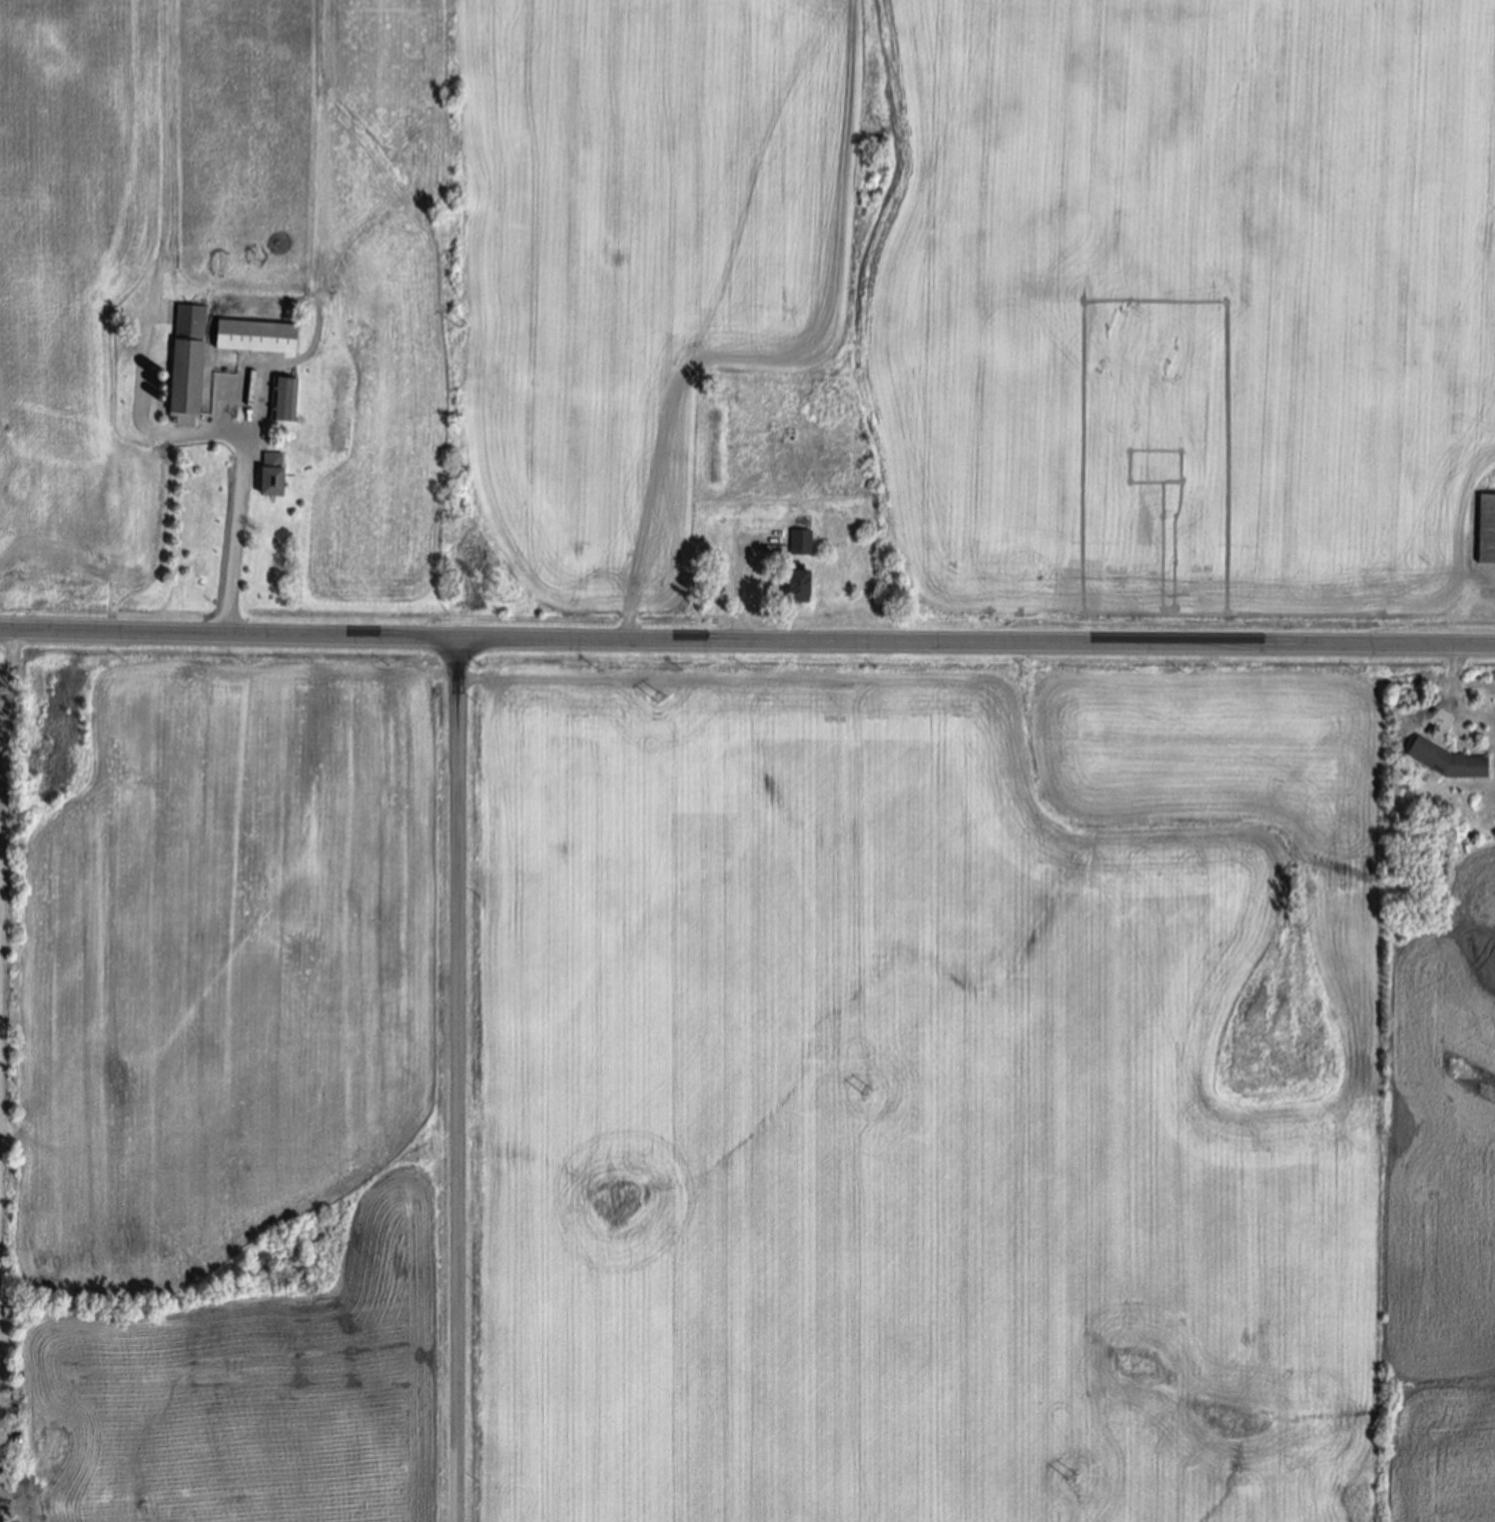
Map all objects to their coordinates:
power tower: (461, 323)
building: (258, 338)
building: (188, 366)
building: (283, 401)
building: (274, 476)
road: (241, 507)
building: (1487, 531)
building: (802, 545)
building: (801, 588)
road: (736, 599)
road: (747, 642)
road: (1452, 676)
road: (8, 677)
power tower: (660, 700)
building: (1450, 762)
road: (459, 1081)
power tower: (868, 1093)
power tower: (1072, 1478)

